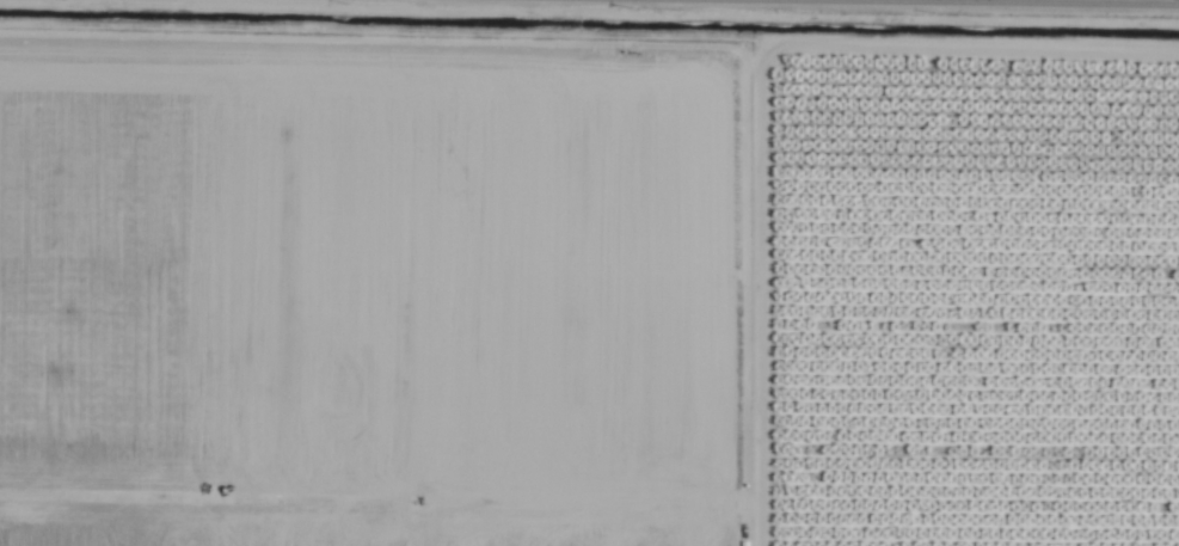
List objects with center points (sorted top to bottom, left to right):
road: (963, 2)

